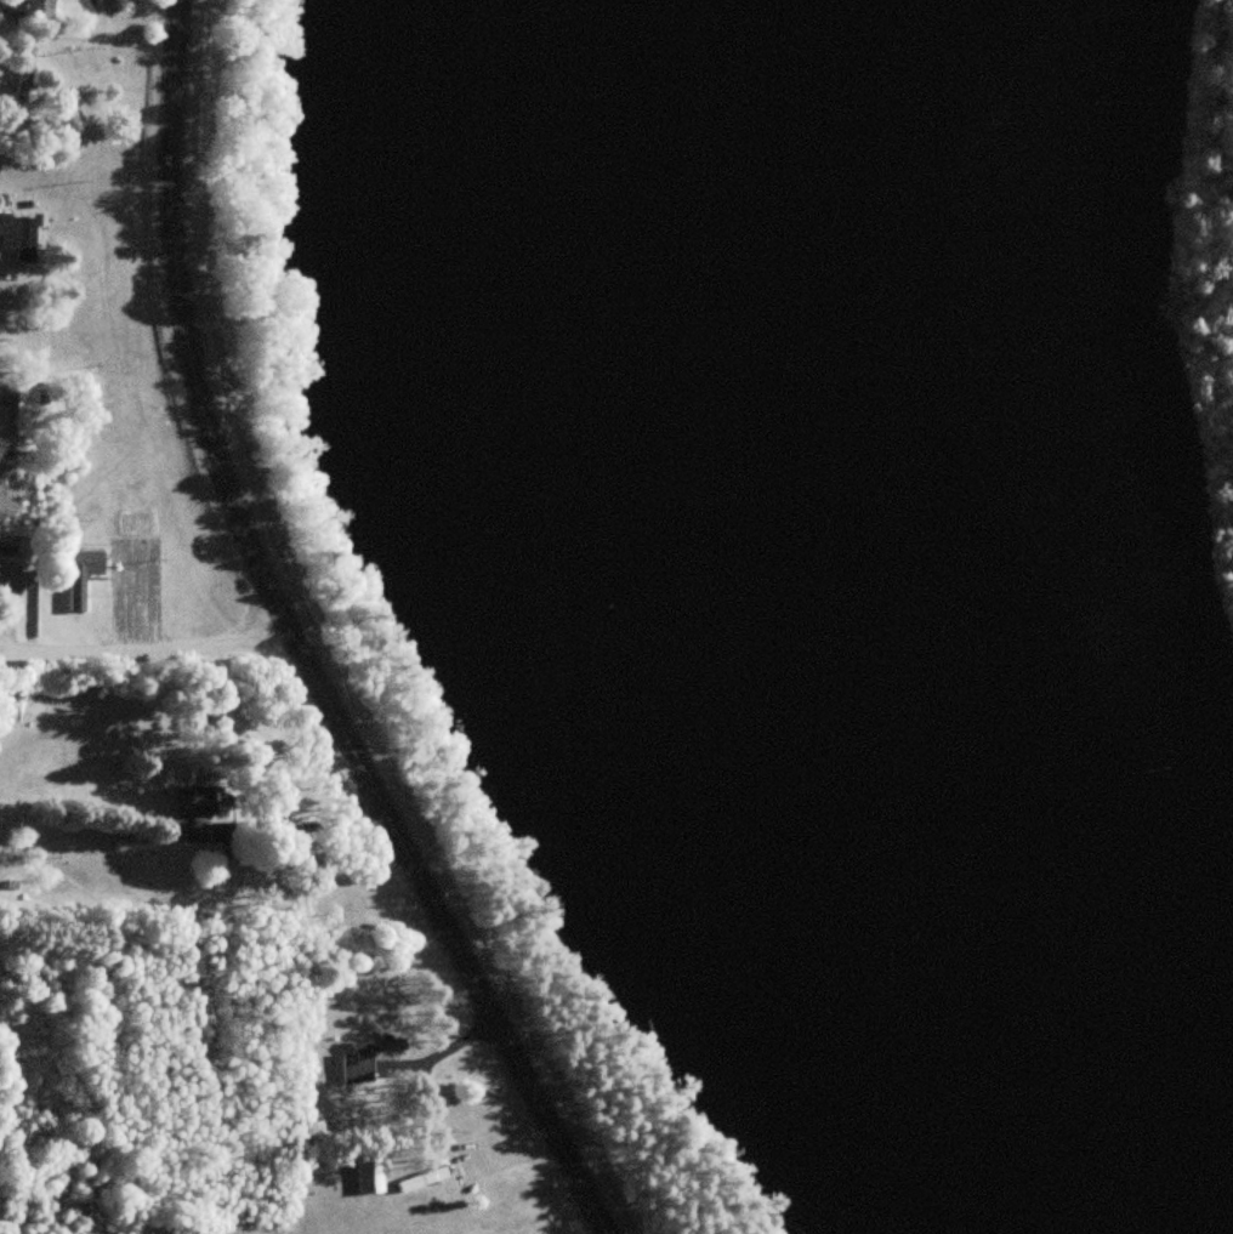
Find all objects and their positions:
building: (39, 8)
building: (24, 73)
building: (17, 233)
building: (7, 332)
building: (27, 411)
building: (80, 576)
building: (10, 582)
river: (758, 635)
road: (292, 644)
road: (144, 648)
building: (200, 801)
building: (193, 831)
building: (136, 845)
building: (115, 866)
building: (70, 870)
road: (305, 908)
building: (368, 1058)
building: (365, 1178)

